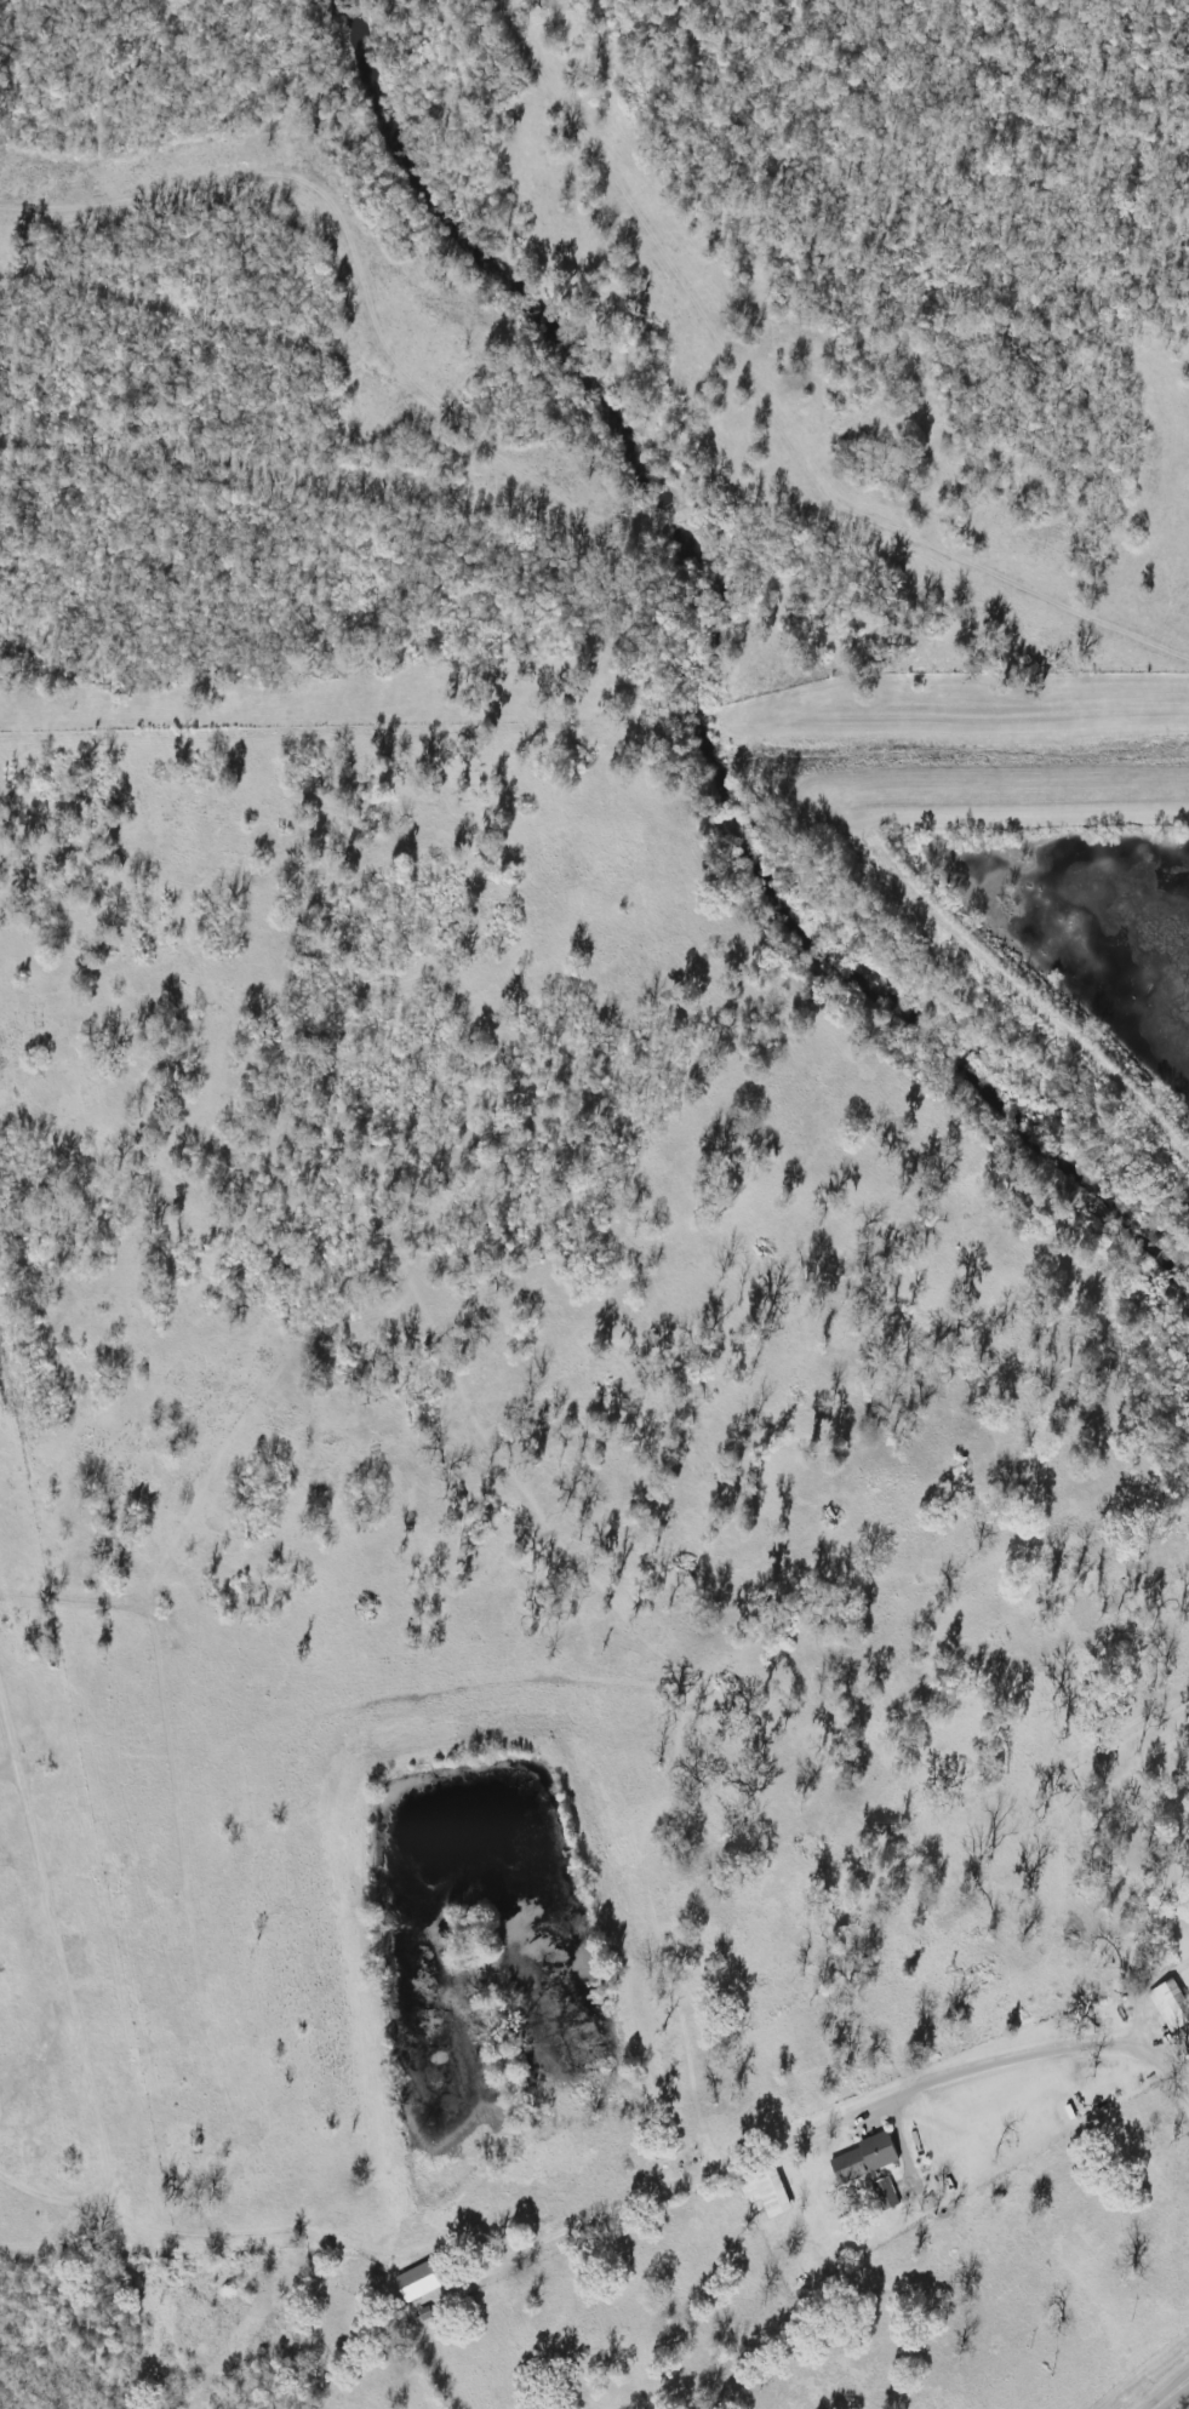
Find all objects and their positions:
river: (721, 665)
building: (1170, 2005)
road: (859, 2108)
building: (863, 2159)
building: (767, 2195)
building: (417, 2282)
road: (1171, 2393)

